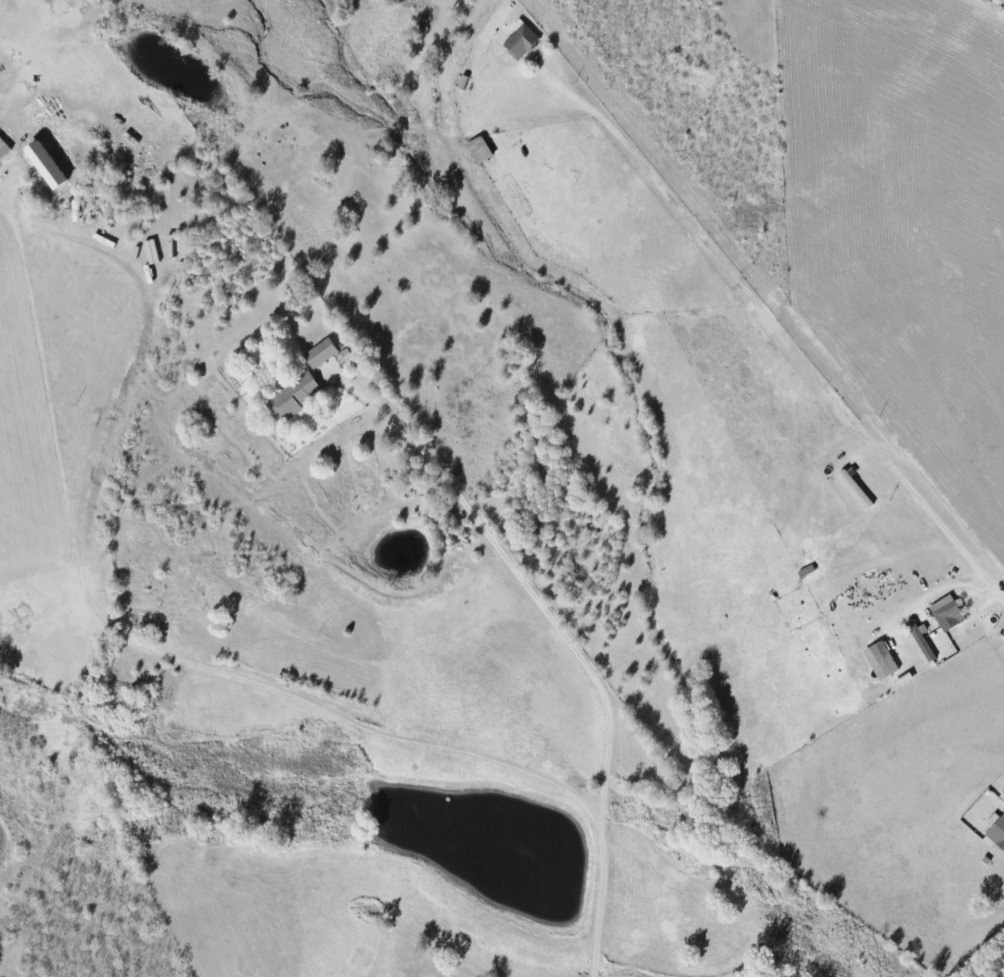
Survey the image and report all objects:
building: (520, 39)
building: (3, 148)
building: (479, 149)
building: (44, 164)
road: (11, 208)
road: (782, 333)
building: (320, 352)
road: (132, 377)
building: (291, 397)
road: (385, 429)
building: (856, 489)
building: (946, 612)
building: (921, 641)
building: (880, 659)
road: (597, 695)
road: (346, 719)
building: (1002, 795)
building: (996, 829)
road: (993, 967)

